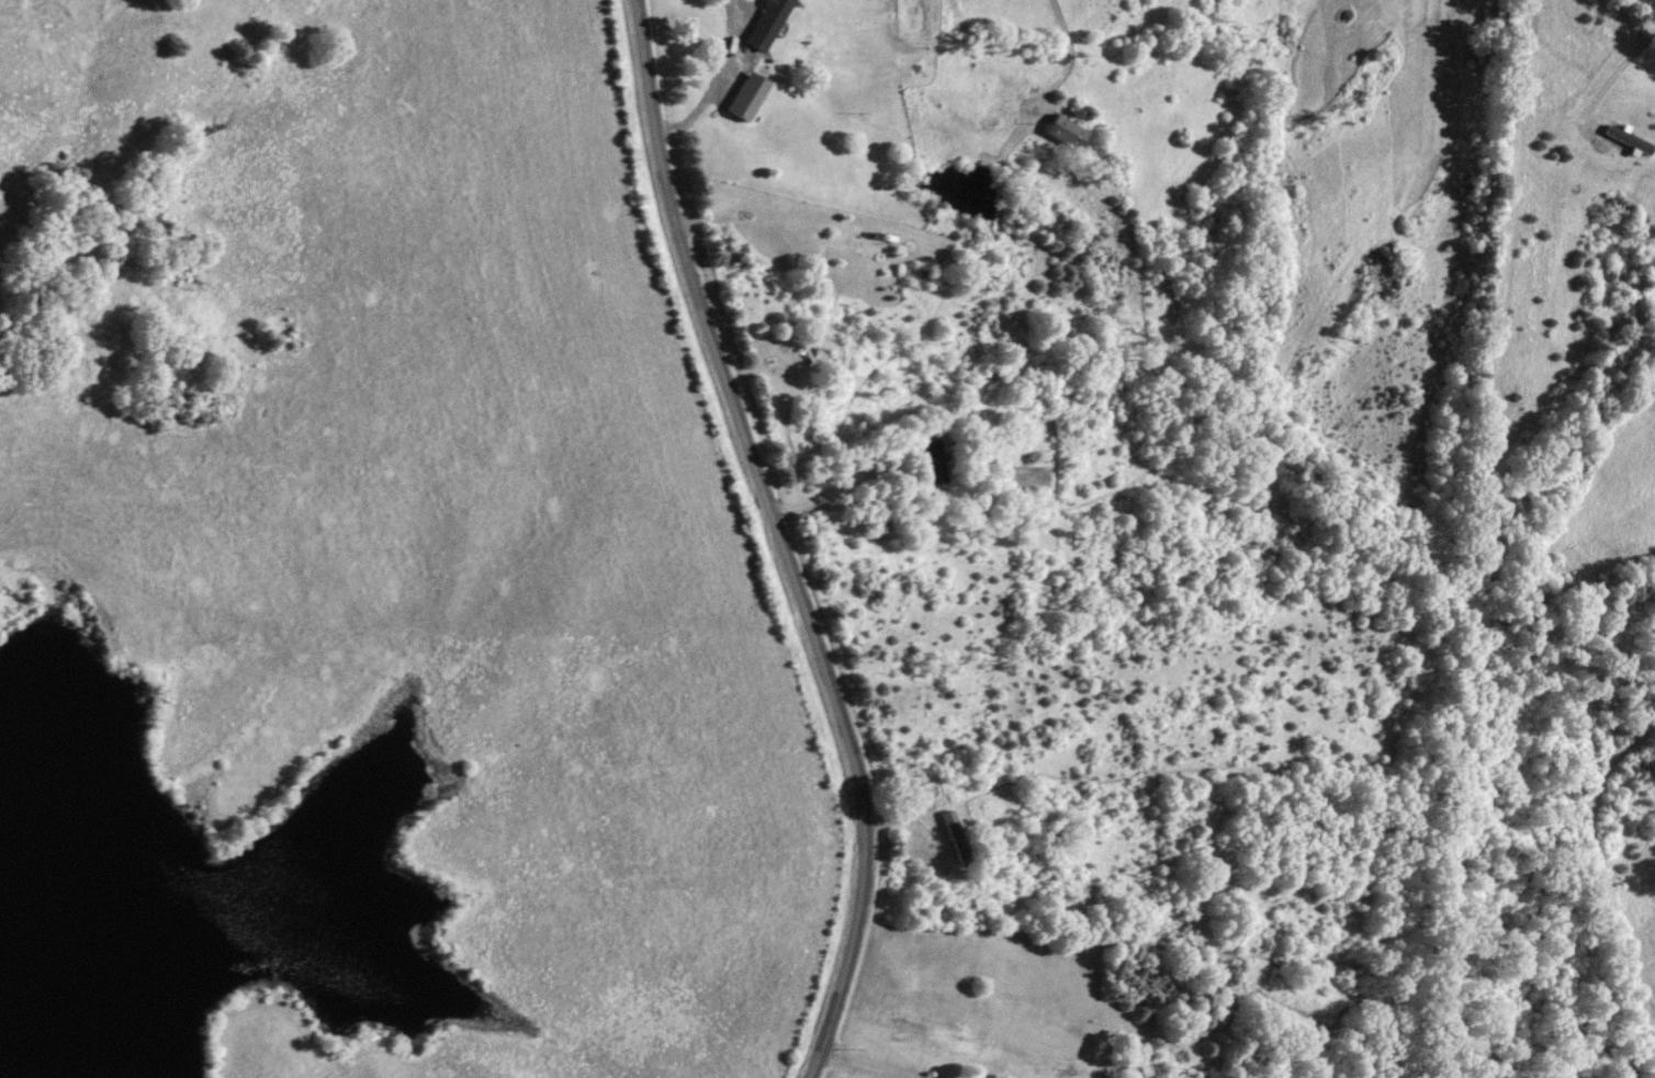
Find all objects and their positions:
road: (1644, 10)
road: (740, 14)
building: (767, 23)
building: (1487, 35)
building: (747, 95)
building: (1066, 132)
building: (936, 461)
road: (899, 507)
building: (881, 522)
road: (779, 540)
building: (955, 837)
road: (871, 1068)

